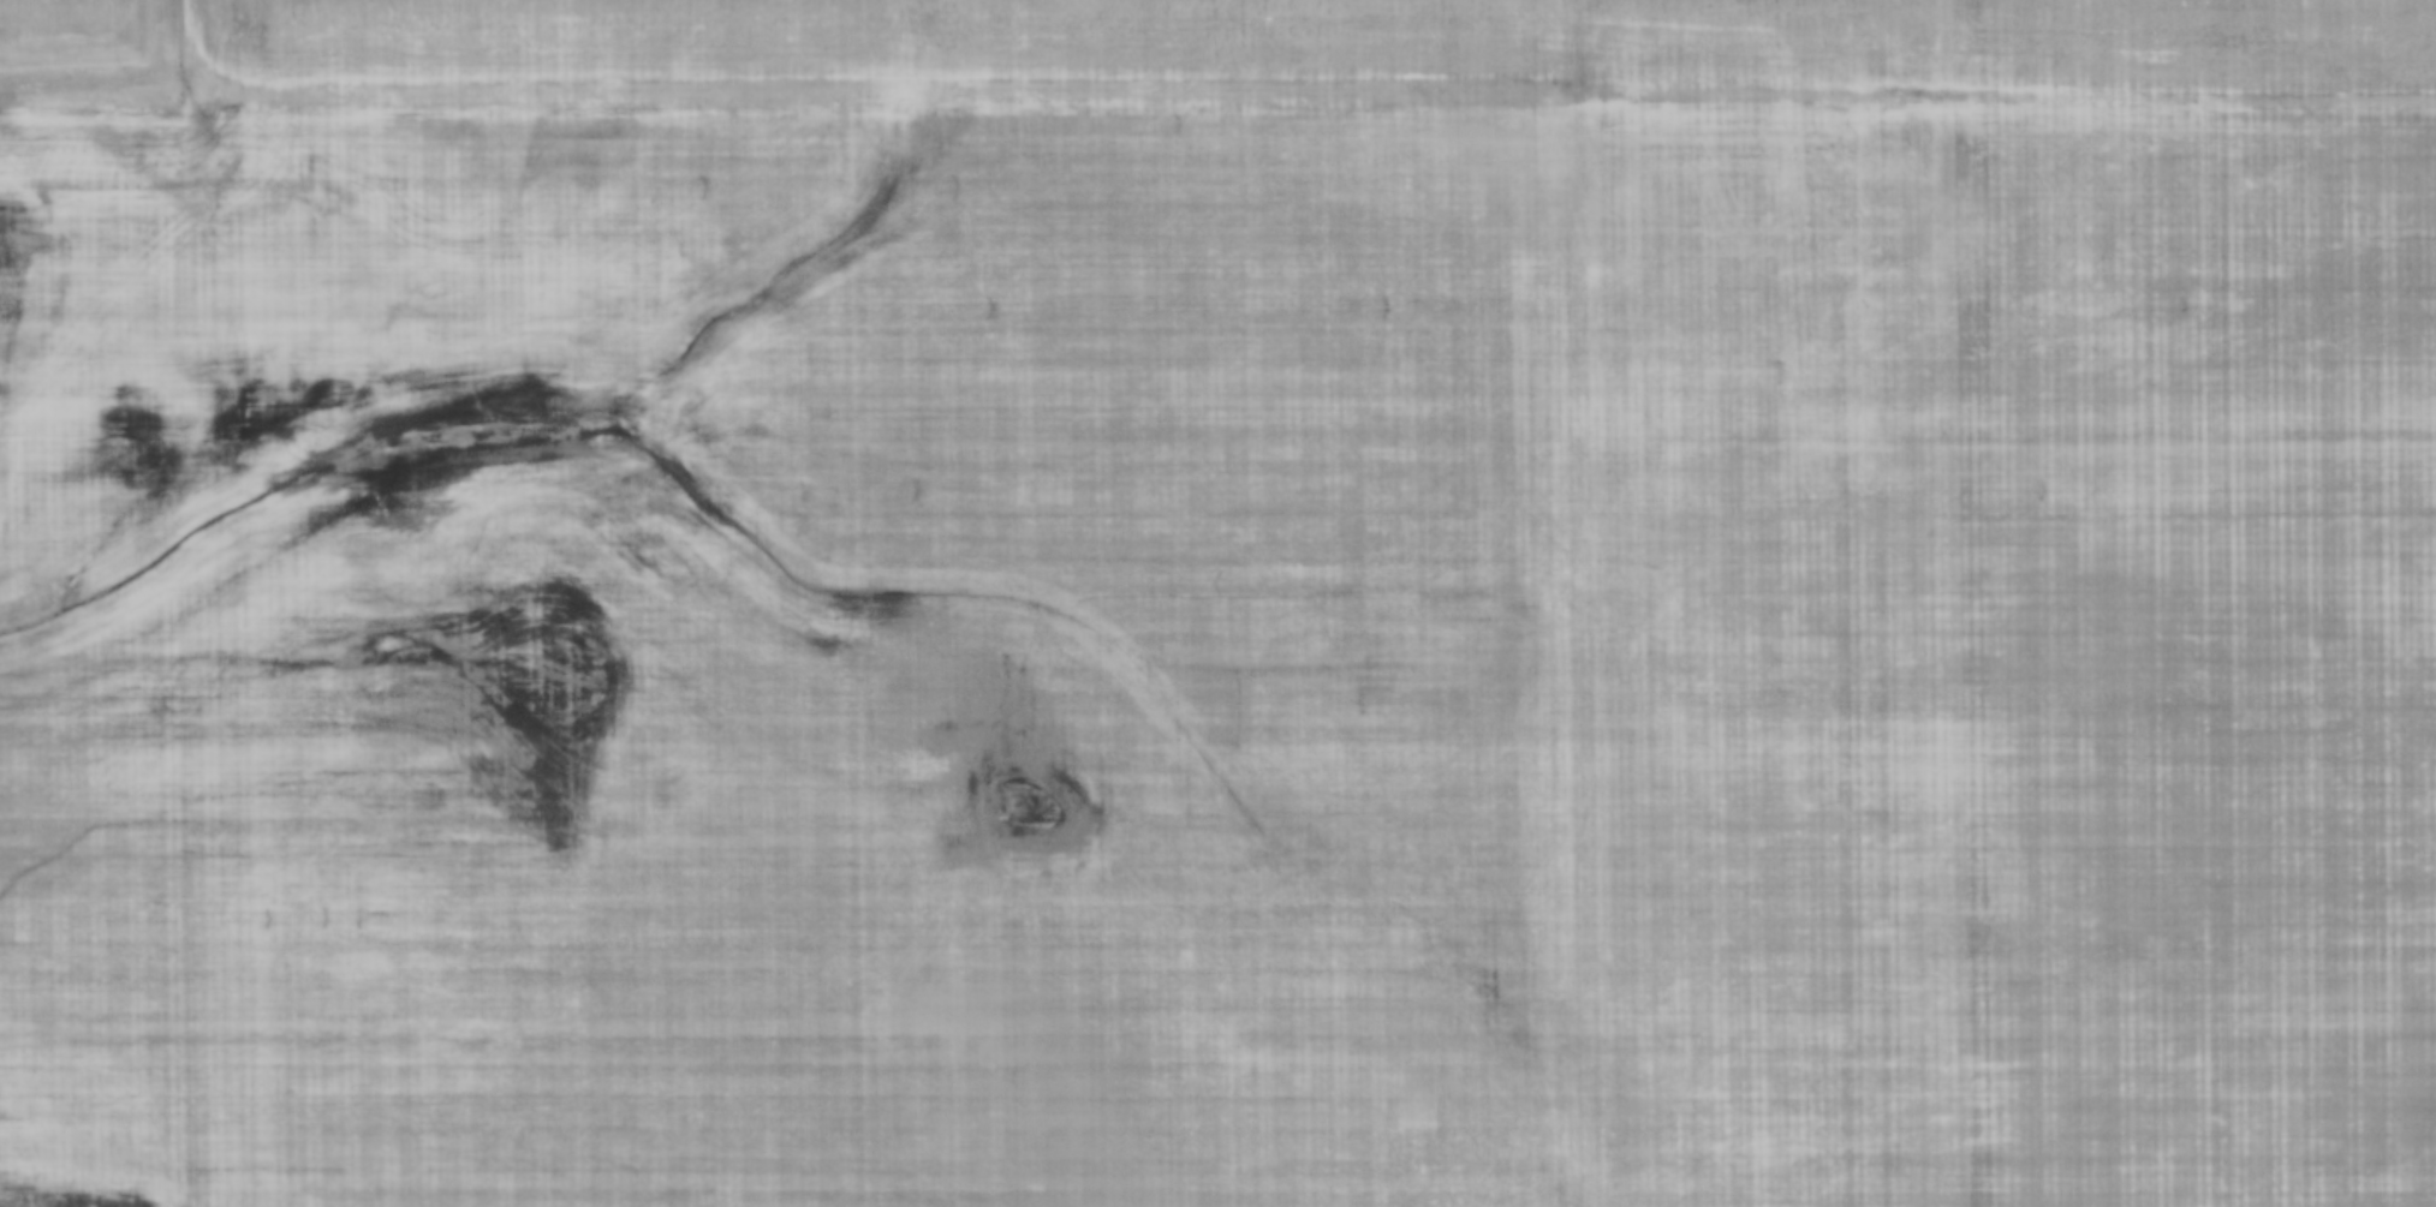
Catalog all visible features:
road: (177, 41)
road: (1306, 78)
road: (89, 80)

